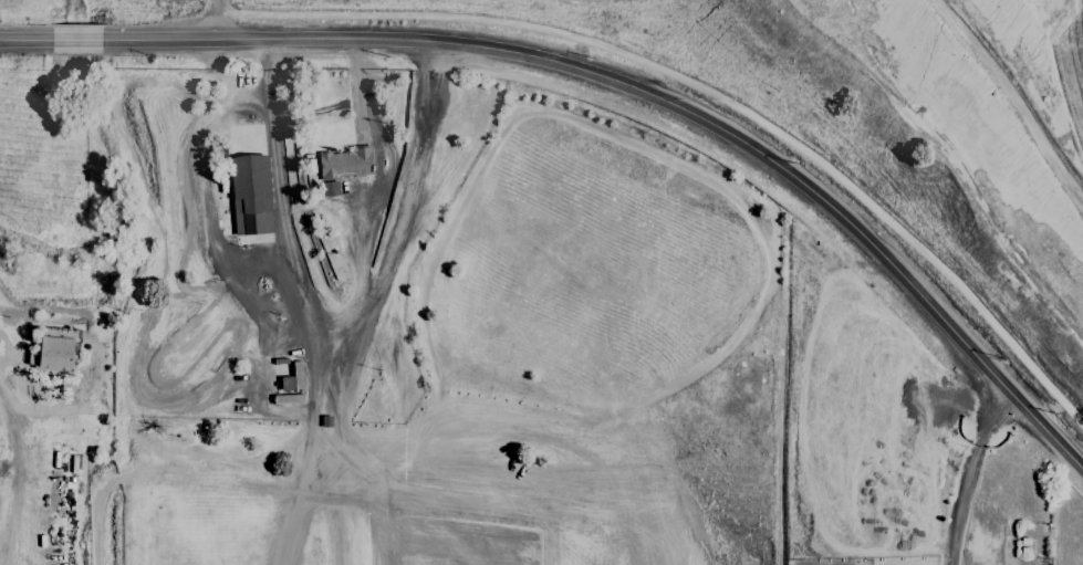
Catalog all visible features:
road: (214, 22)
road: (612, 86)
quarry: (999, 108)
building: (341, 167)
road: (378, 172)
building: (249, 195)
road: (404, 211)
road: (280, 221)
quarry: (410, 338)
building: (54, 354)
building: (291, 379)
road: (972, 477)

